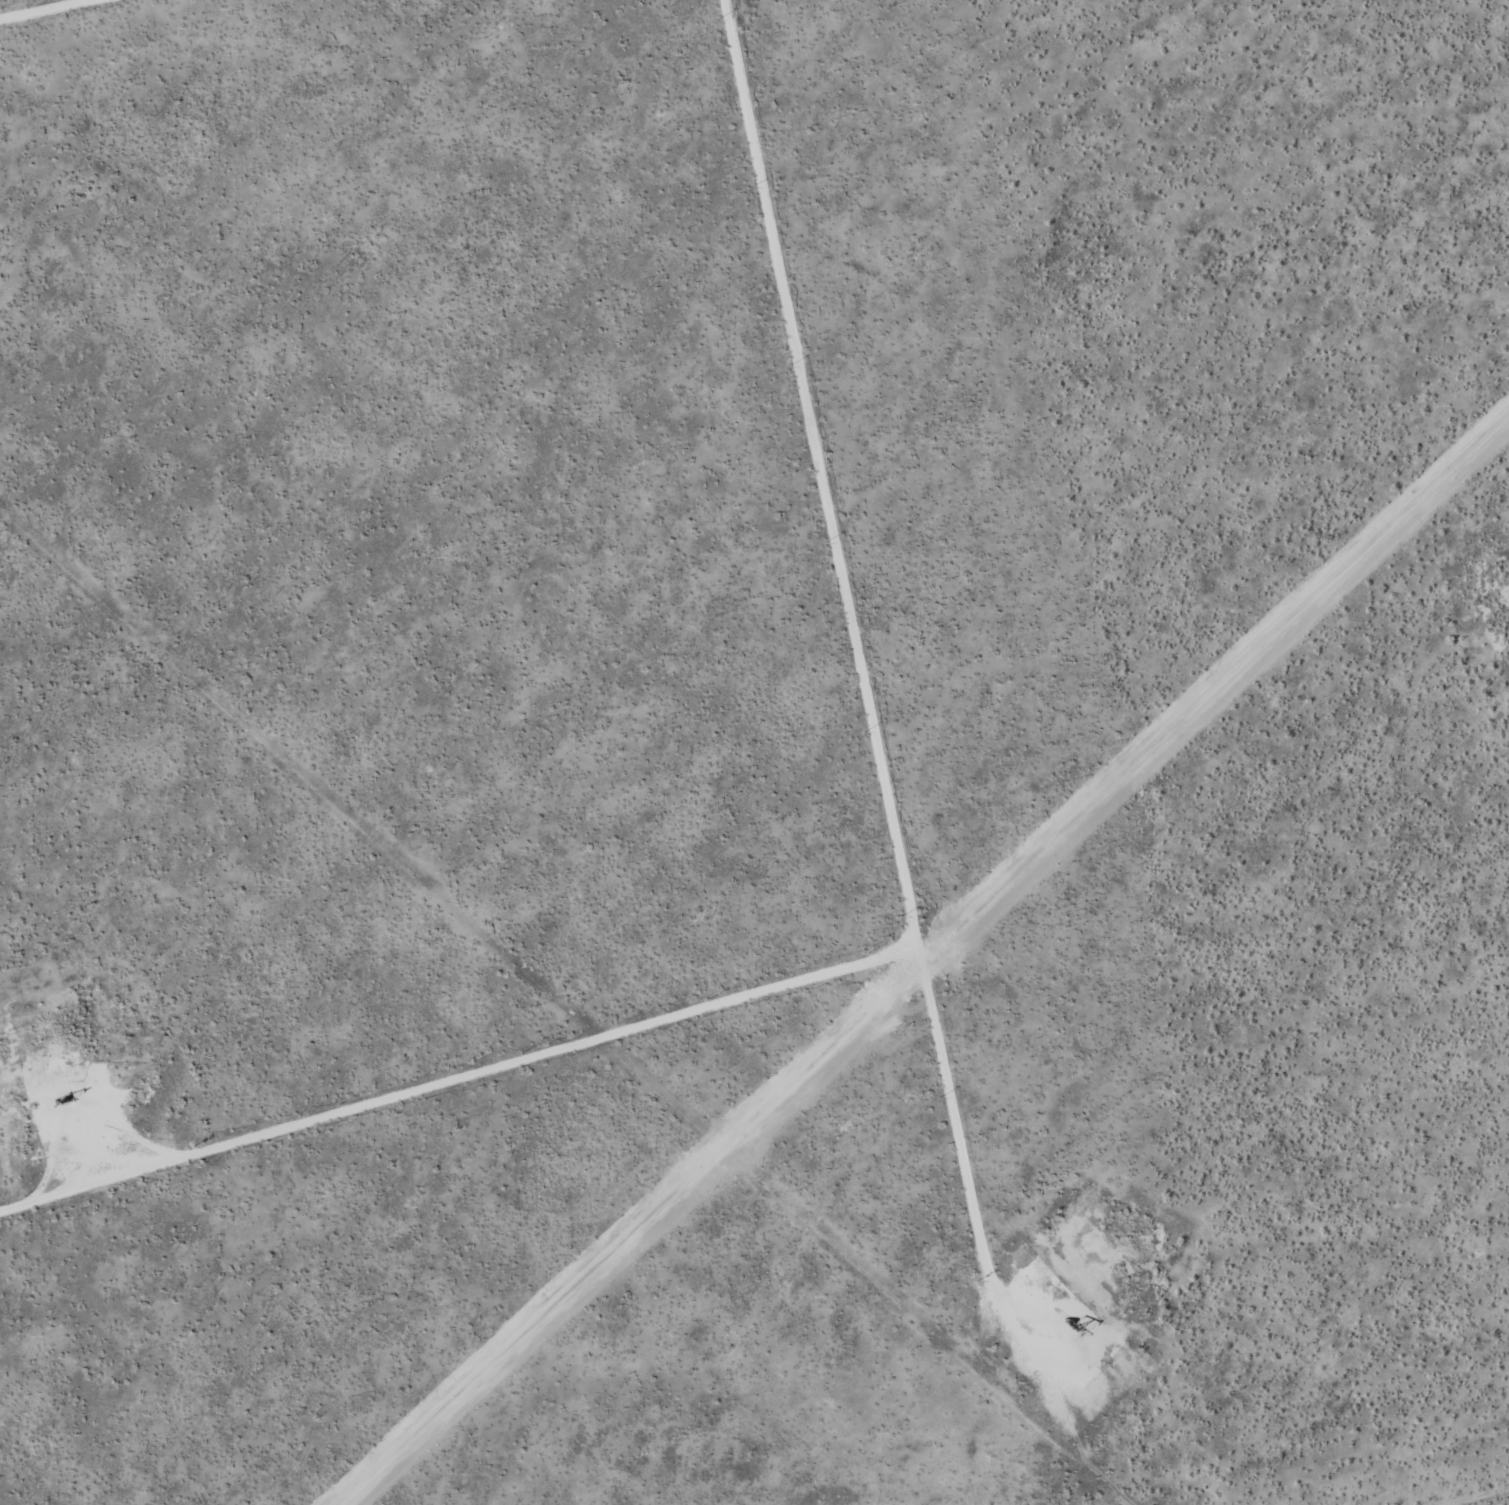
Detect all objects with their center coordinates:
road: (1500, 1502)

